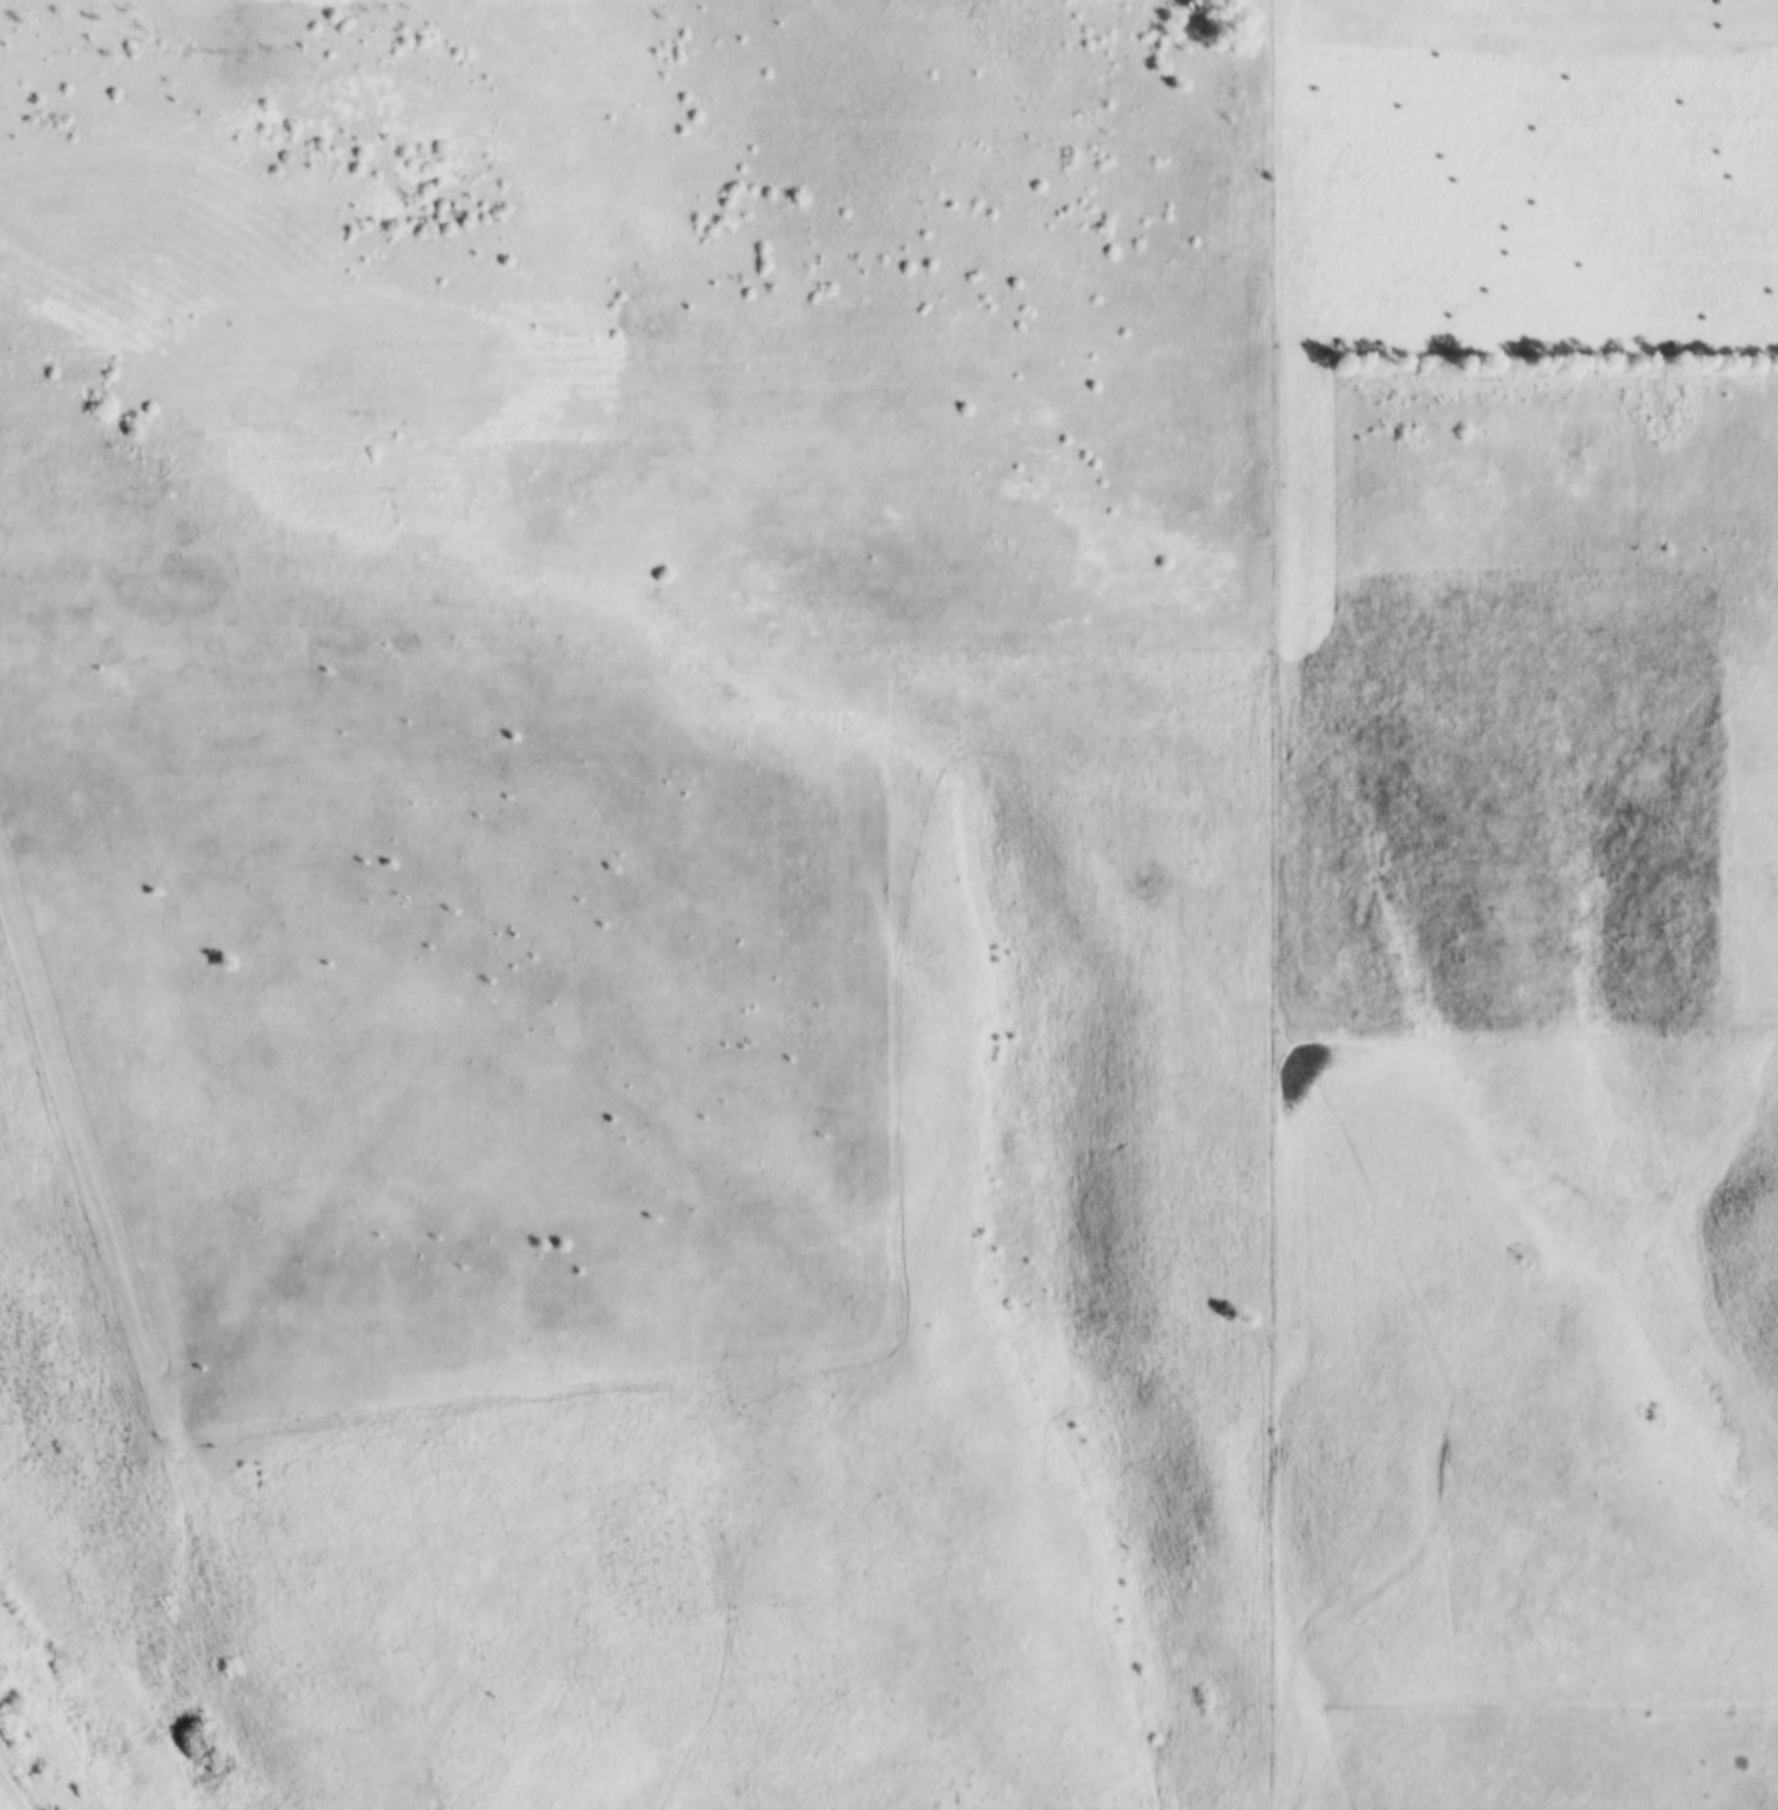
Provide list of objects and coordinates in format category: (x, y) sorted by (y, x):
road: (11, 1793)

